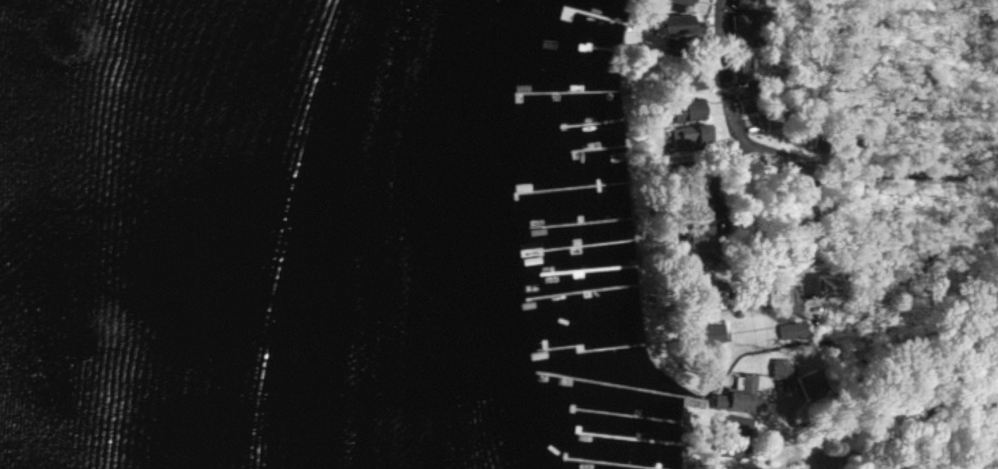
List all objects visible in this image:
building: (680, 1)
building: (742, 21)
building: (683, 24)
building: (695, 81)
building: (690, 111)
building: (692, 135)
road: (798, 156)
road: (809, 228)
building: (704, 237)
building: (829, 284)
building: (793, 330)
building: (714, 333)
building: (782, 368)
building: (742, 396)
road: (910, 425)

